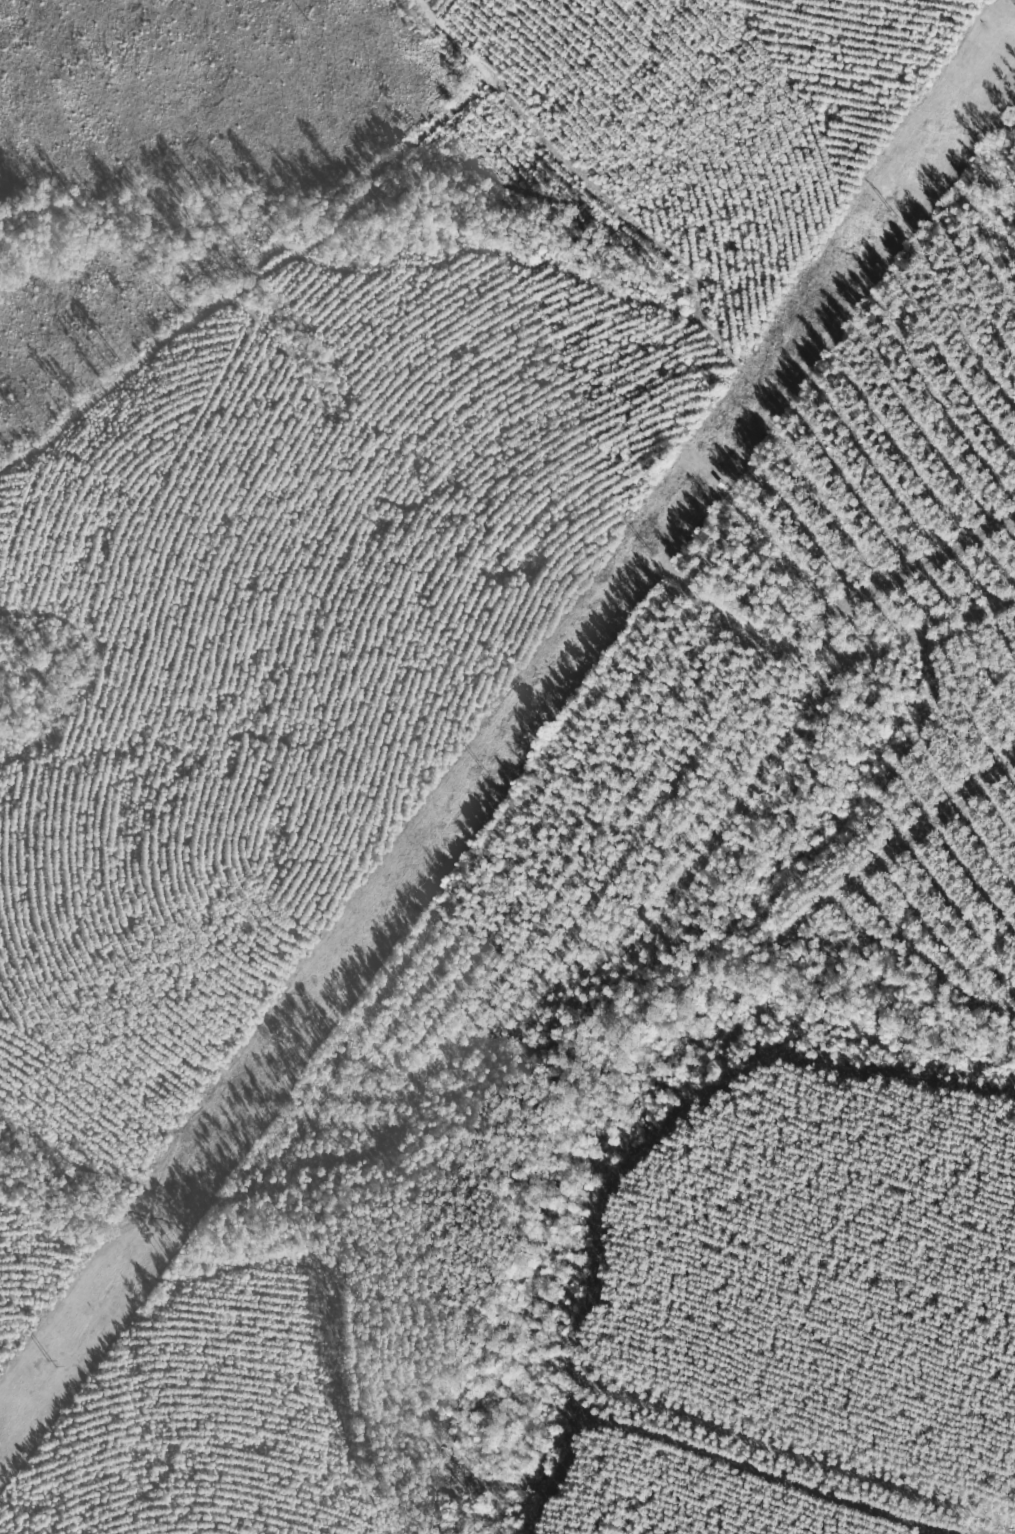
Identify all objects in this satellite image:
power tower: (890, 212)
power tower: (645, 547)
power tower: (482, 770)
power tower: (290, 1031)
power tower: (49, 1361)

